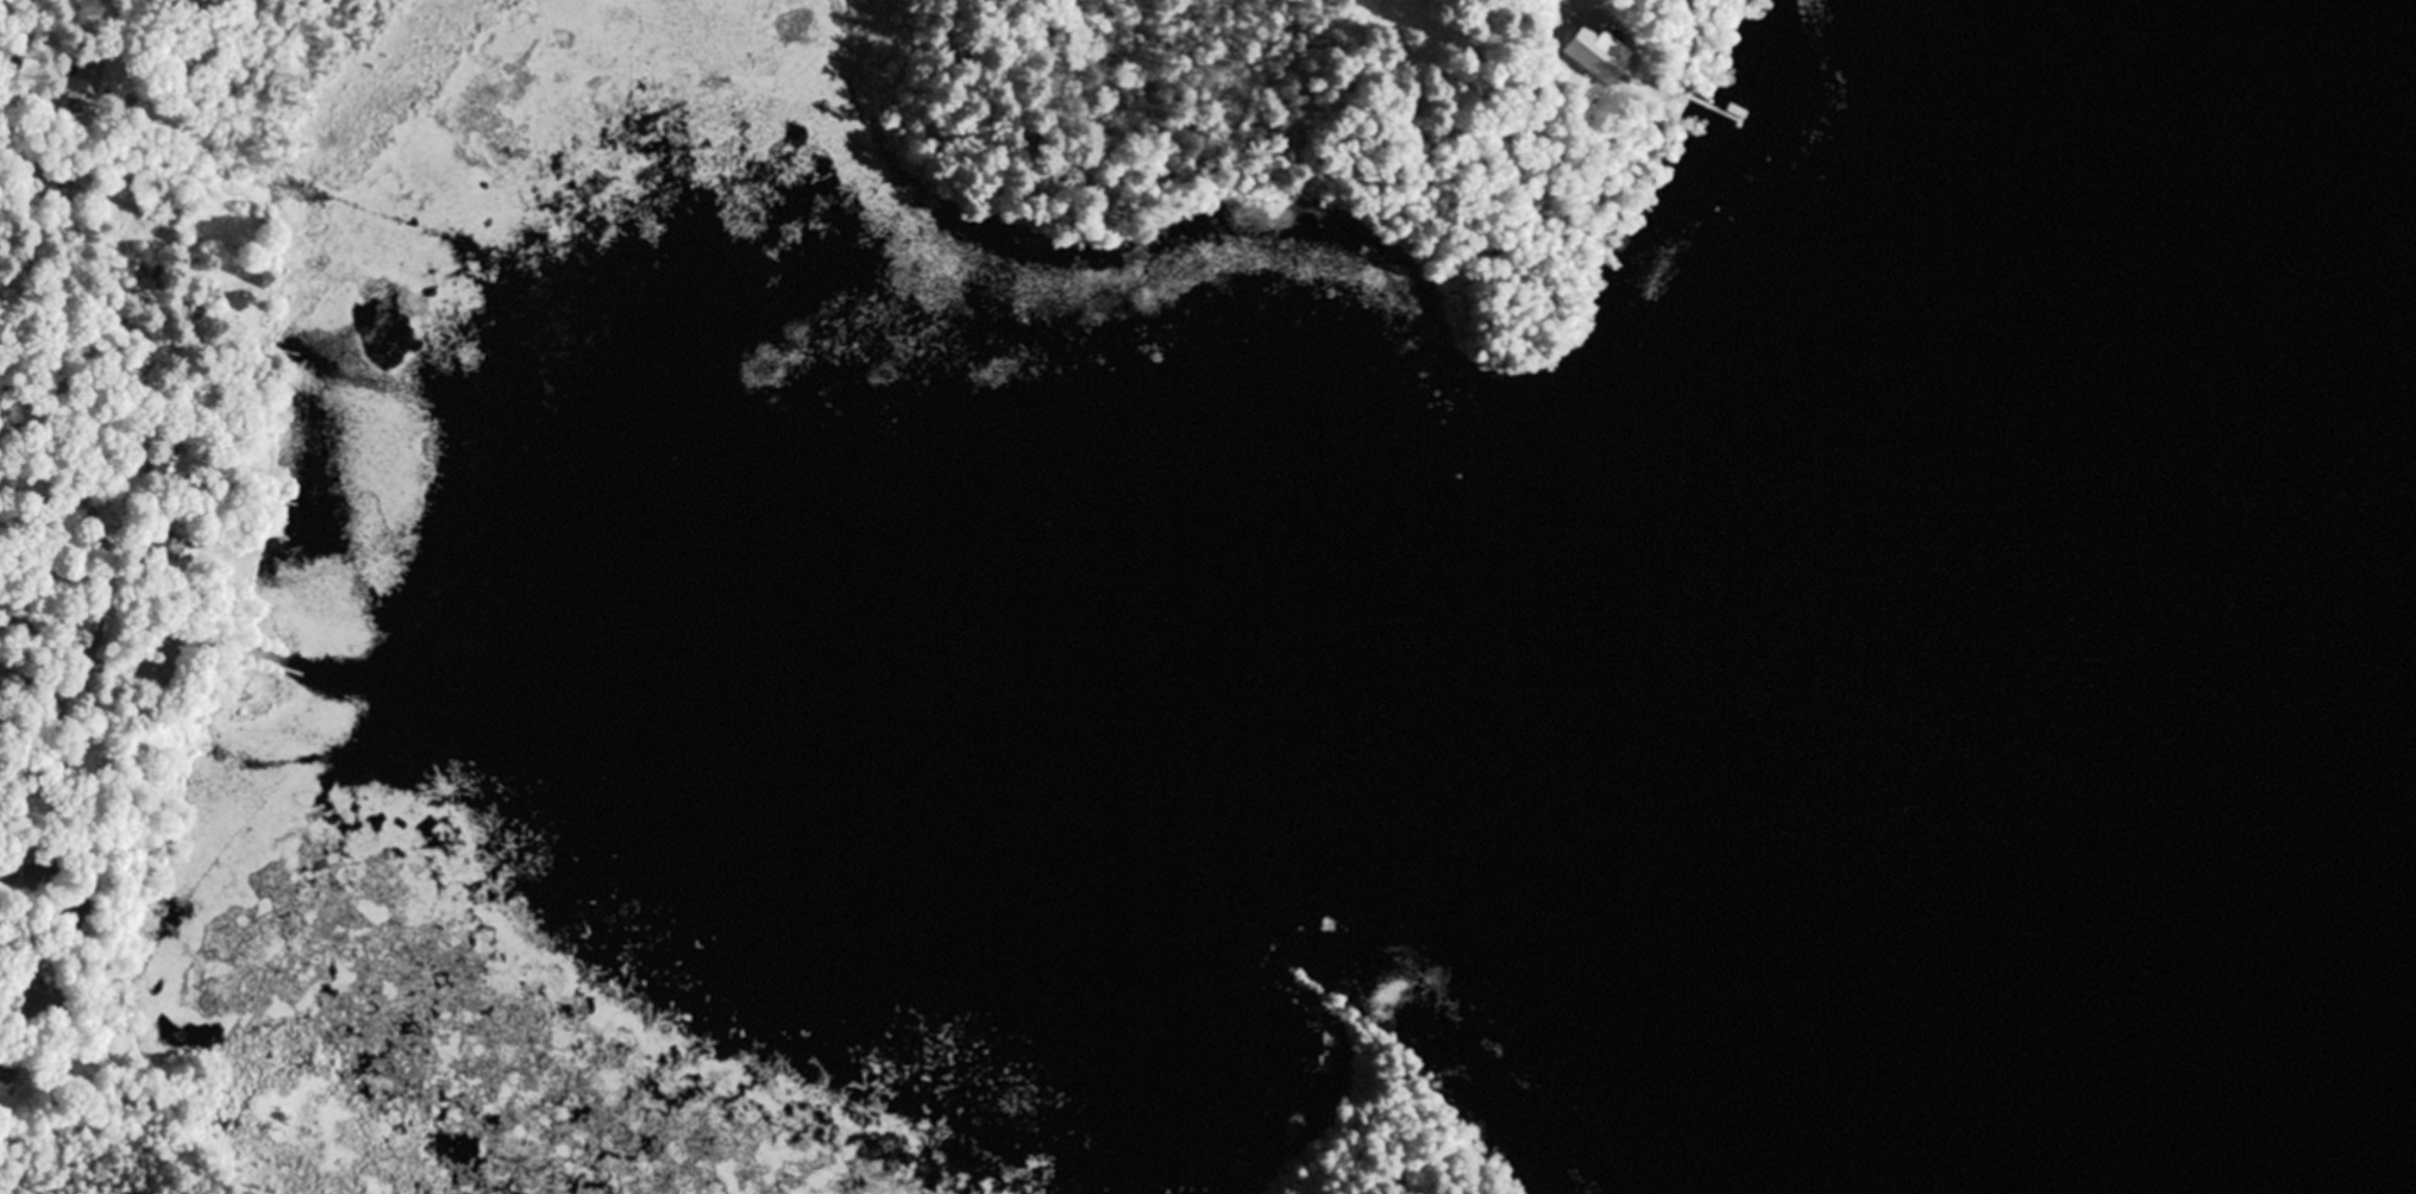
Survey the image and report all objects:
building: (103, 77)
building: (151, 547)
road: (106, 664)
building: (68, 922)
building: (42, 999)
building: (6, 1082)

